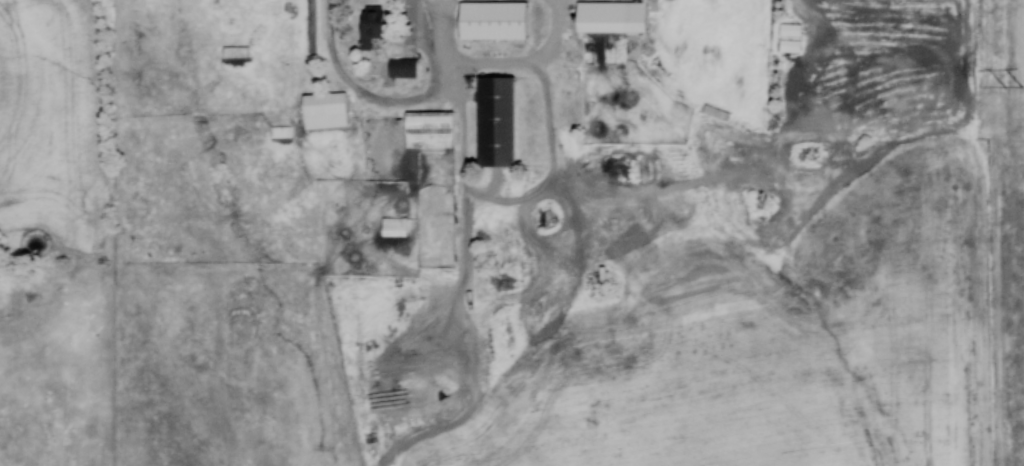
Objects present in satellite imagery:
building: (605, 15)
building: (496, 19)
building: (376, 26)
building: (786, 36)
building: (239, 51)
building: (408, 67)
power tower: (1016, 90)
building: (330, 109)
building: (502, 120)
building: (434, 128)
building: (599, 282)

